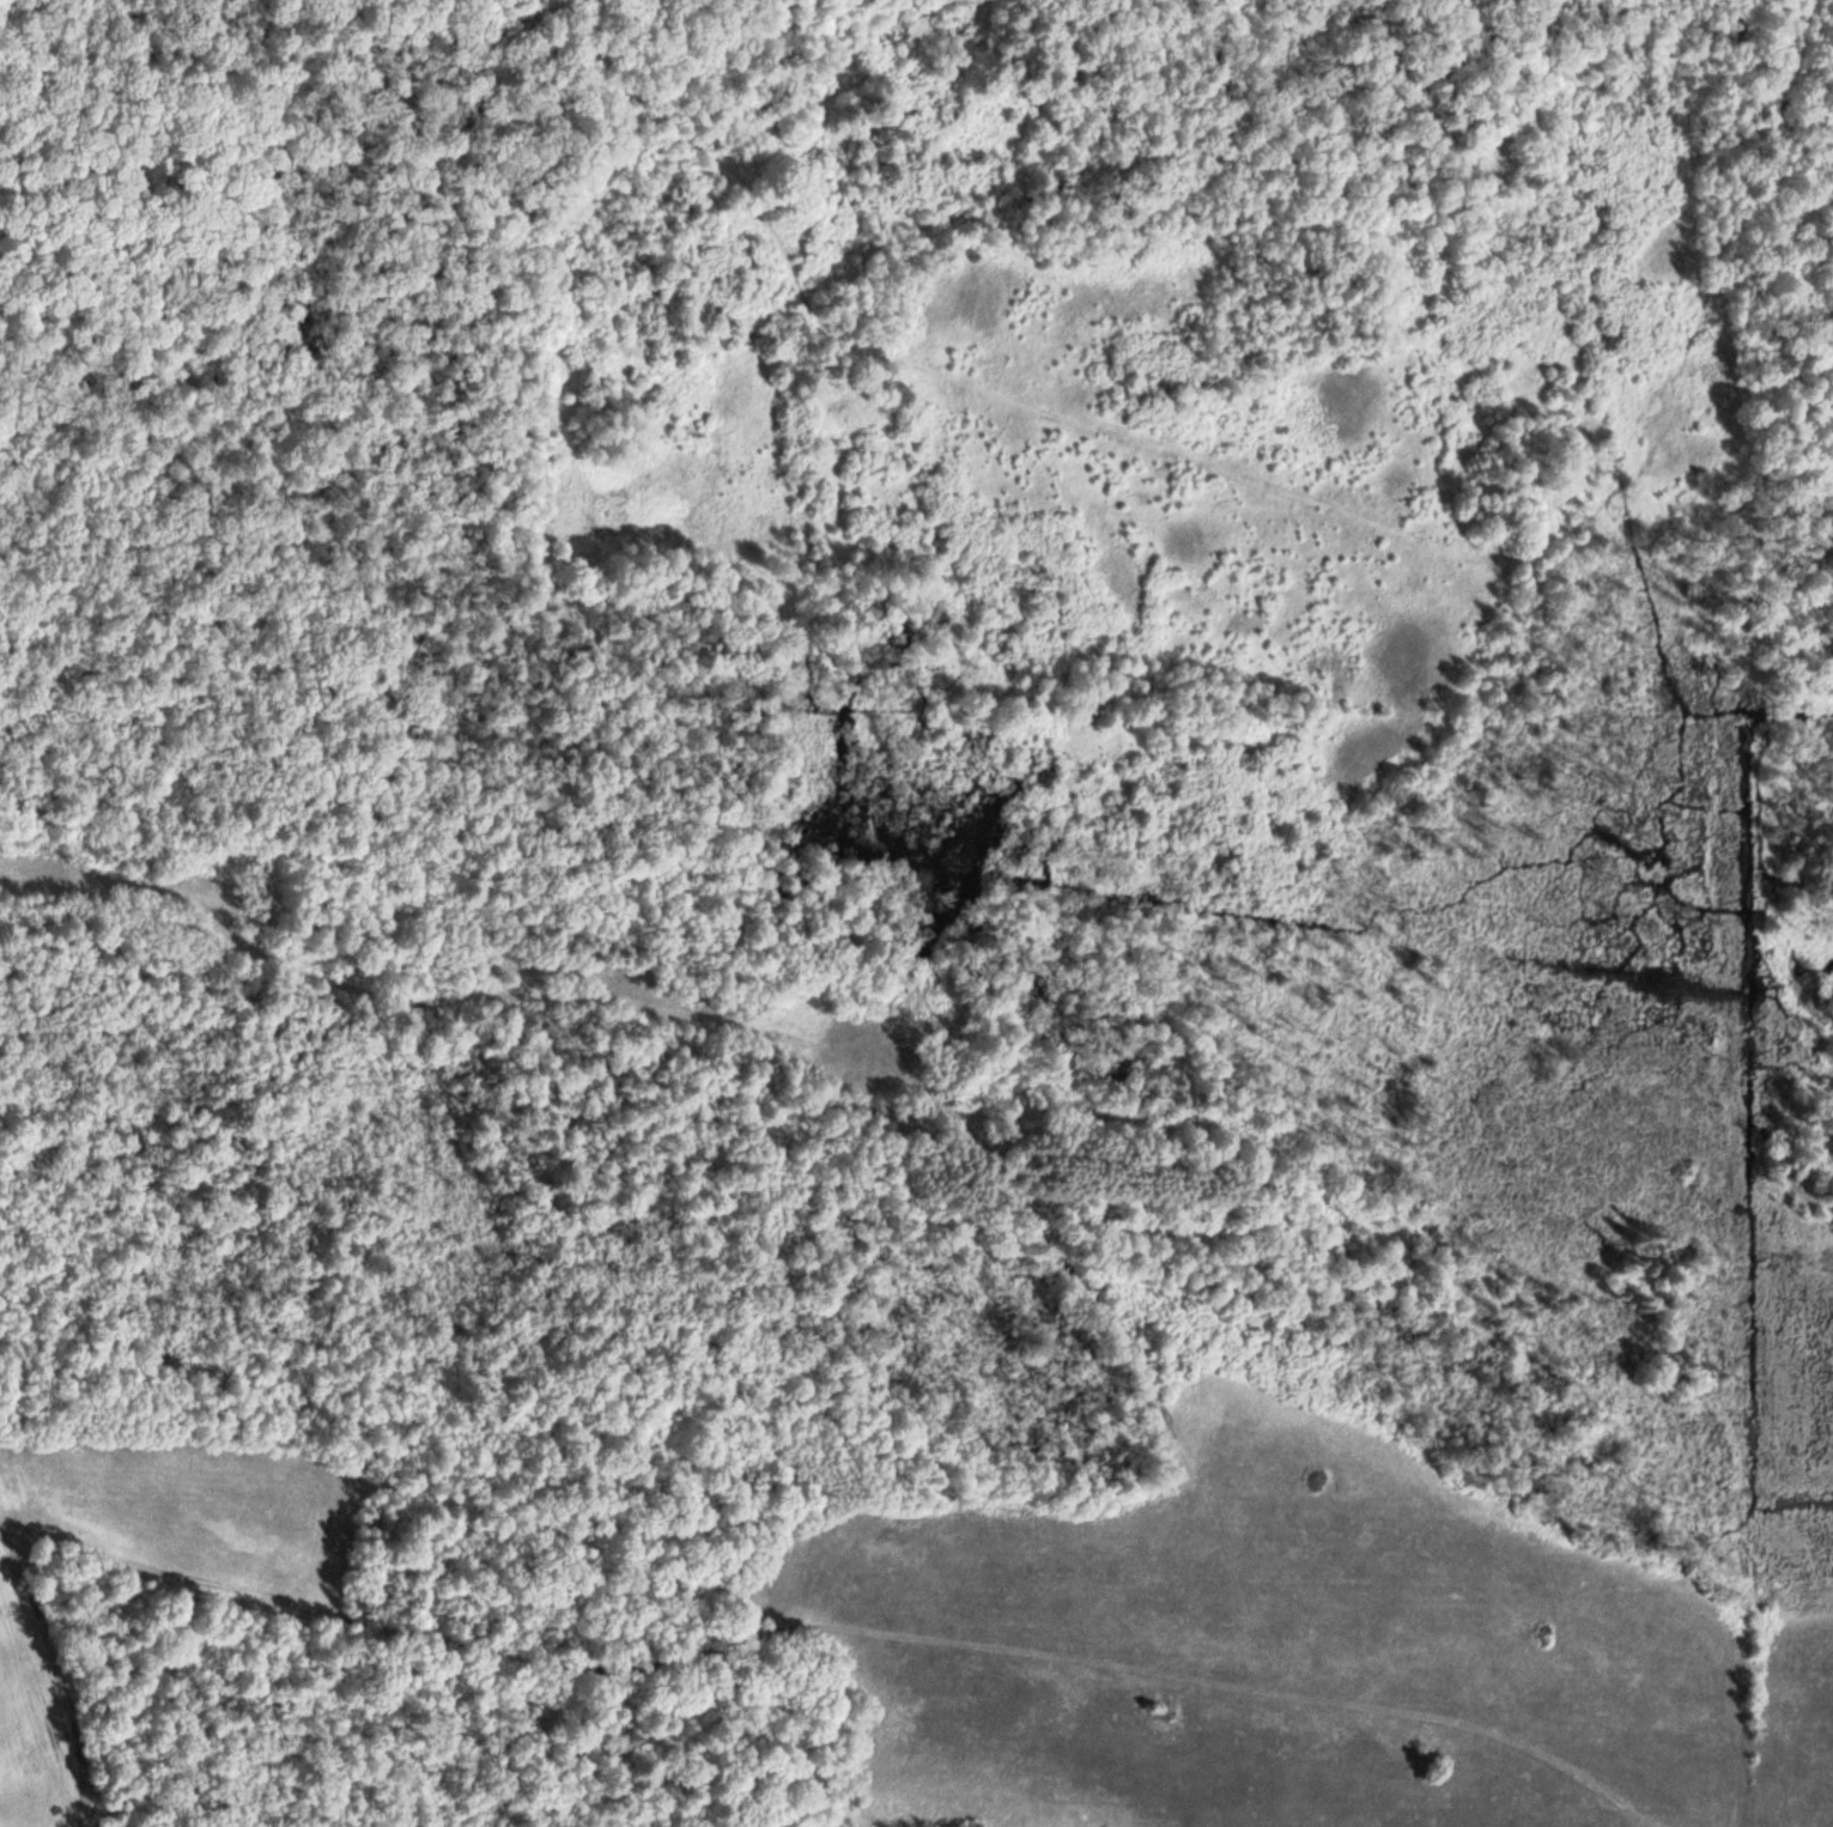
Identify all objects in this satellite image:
road: (55, 1682)

